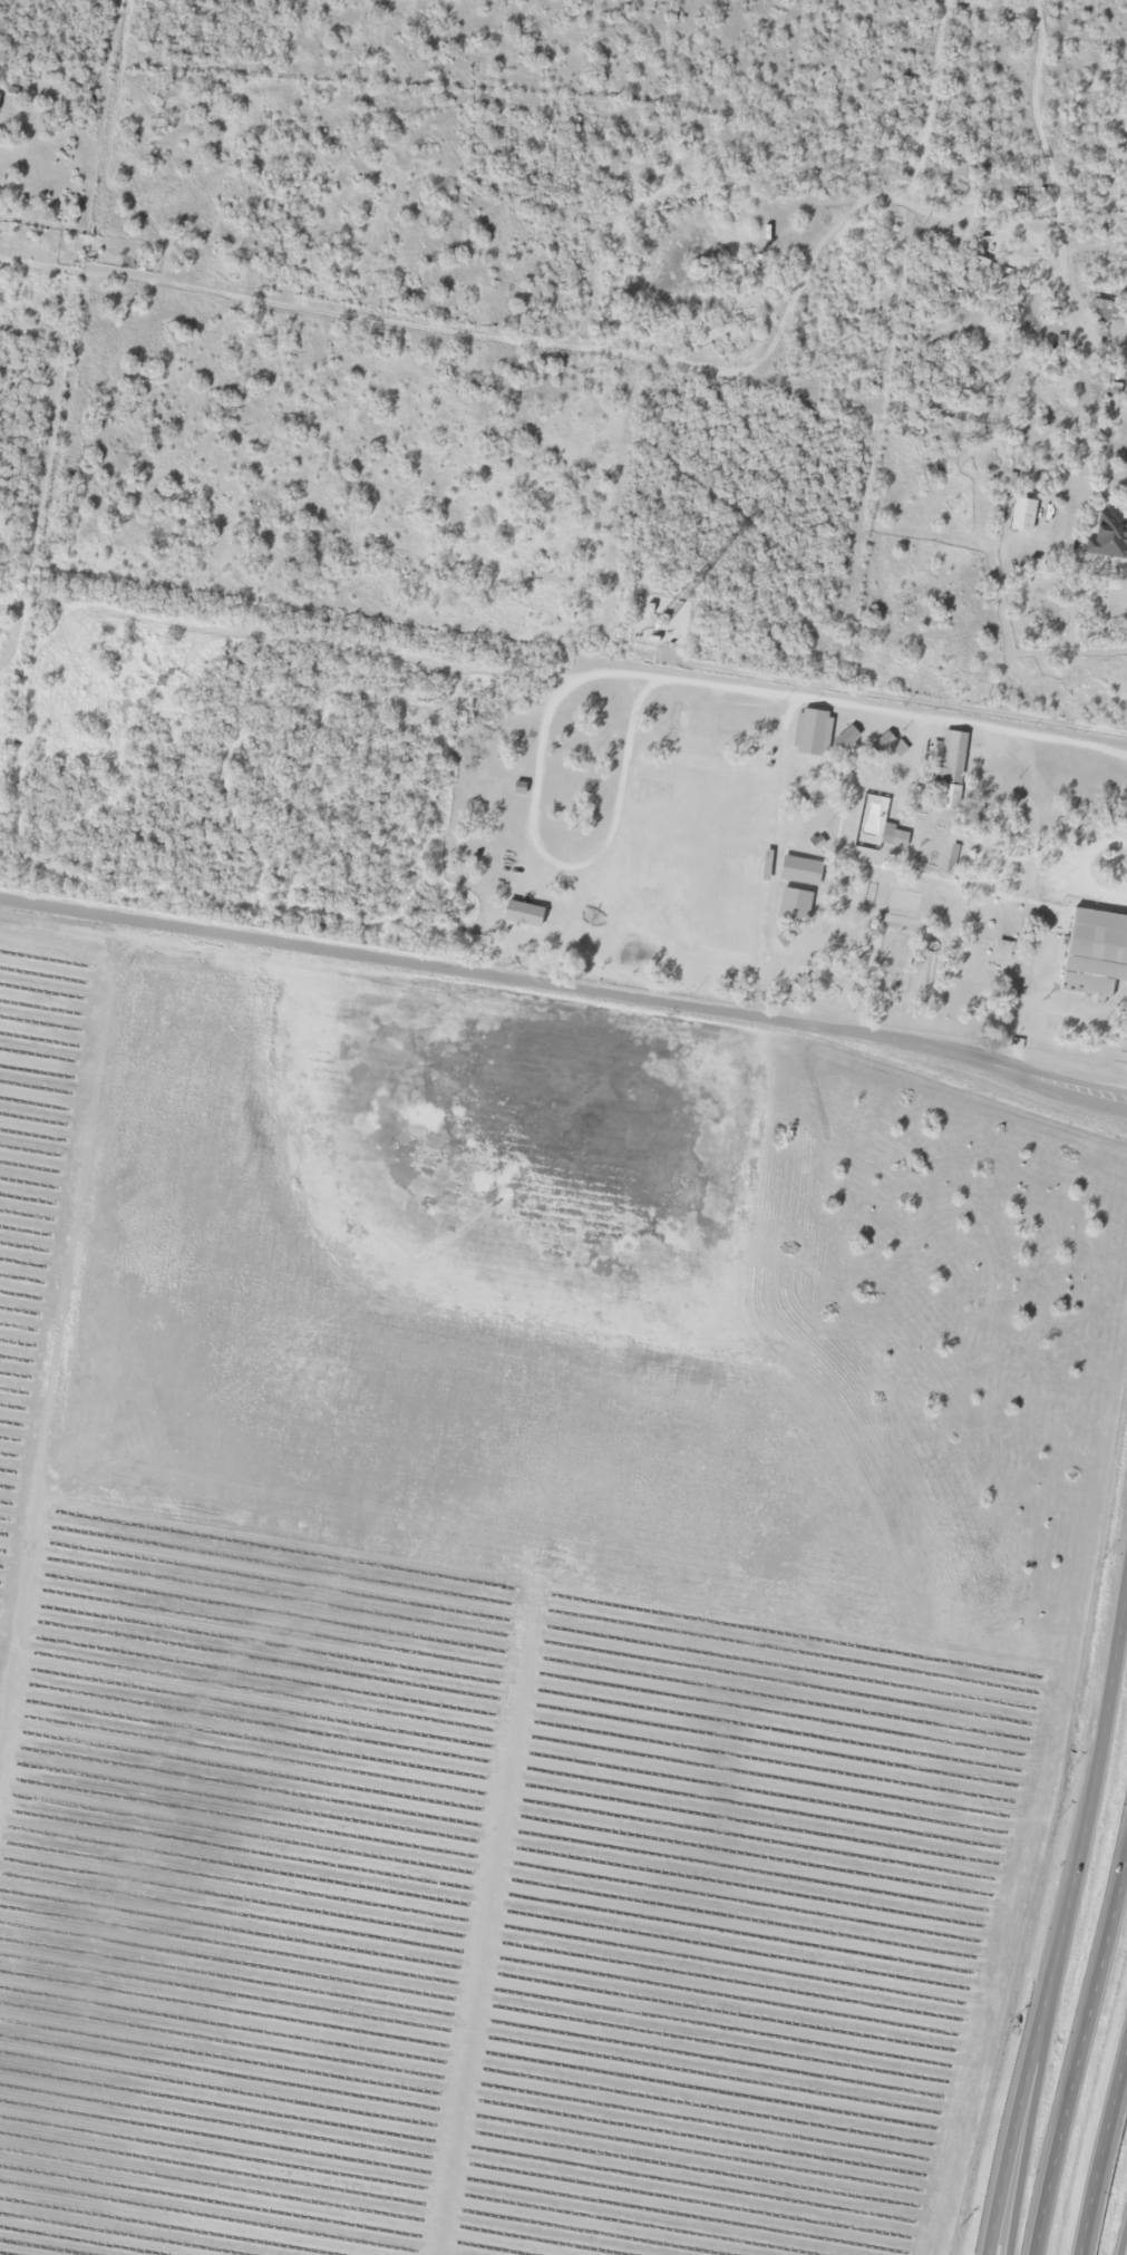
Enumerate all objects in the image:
building: (1024, 196)
building: (1106, 311)
building: (1059, 354)
building: (1022, 515)
building: (1106, 533)
building: (671, 723)
building: (810, 733)
building: (846, 738)
building: (882, 743)
building: (950, 767)
building: (875, 827)
building: (799, 872)
building: (523, 896)
building: (499, 933)
building: (1092, 947)
building: (1001, 951)
road: (565, 984)
road: (1070, 1936)
road: (1078, 2060)
road: (1114, 2113)
road: (1092, 2212)
road: (1016, 2225)
road: (1124, 2244)

